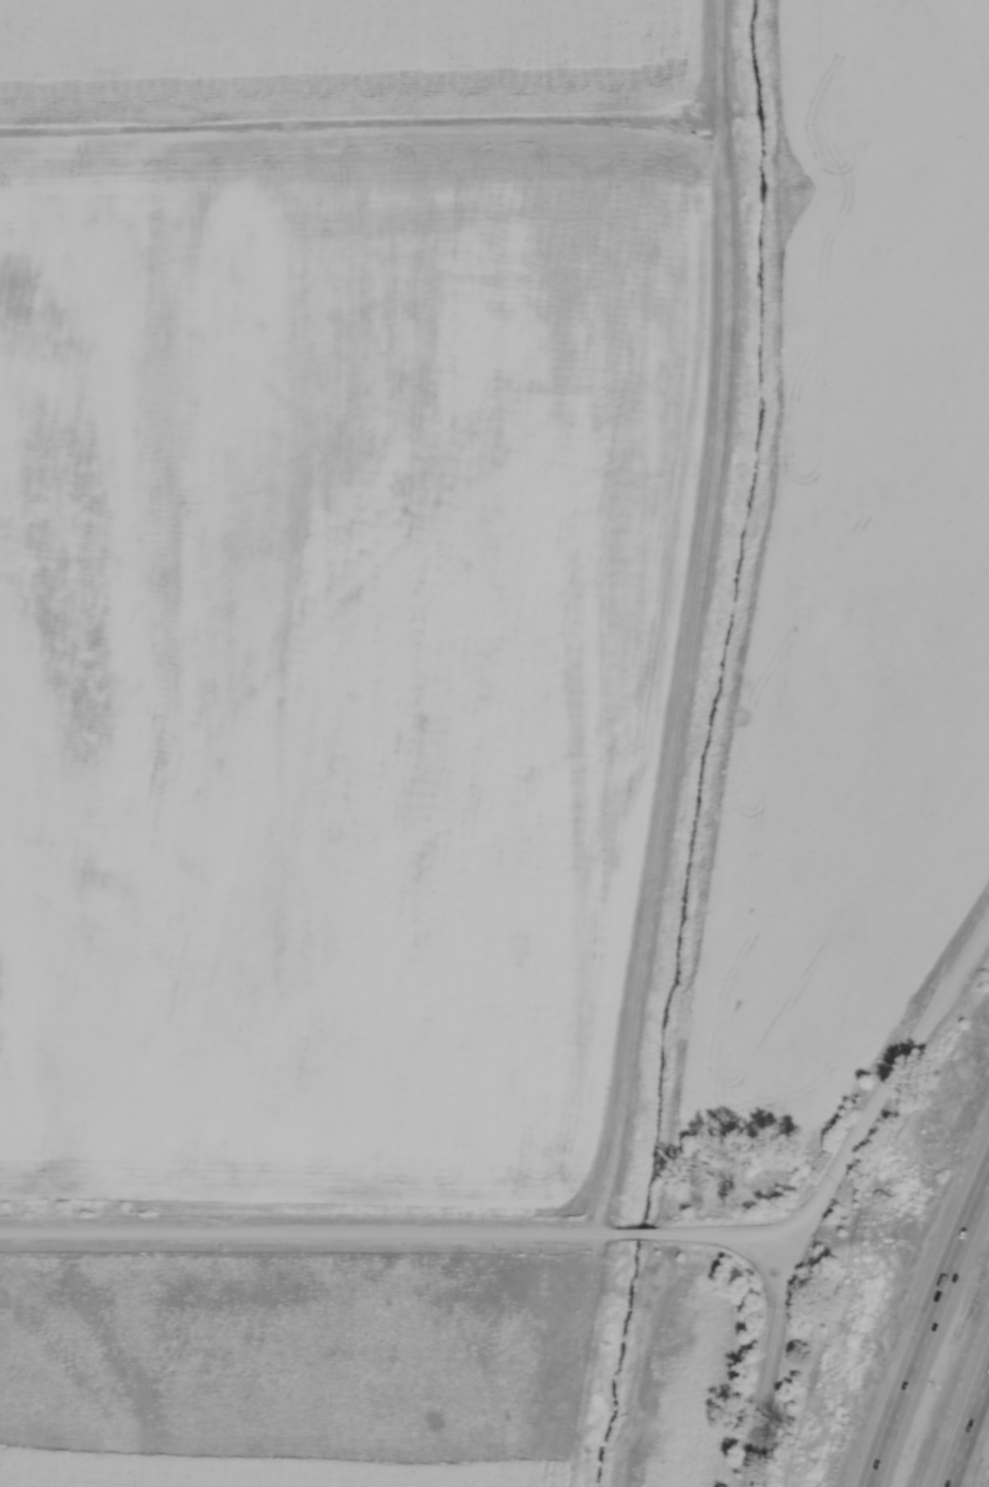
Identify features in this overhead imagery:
road: (827, 1191)
road: (308, 1231)
road: (638, 1232)
road: (786, 1234)
road: (933, 1341)
road: (978, 1454)

